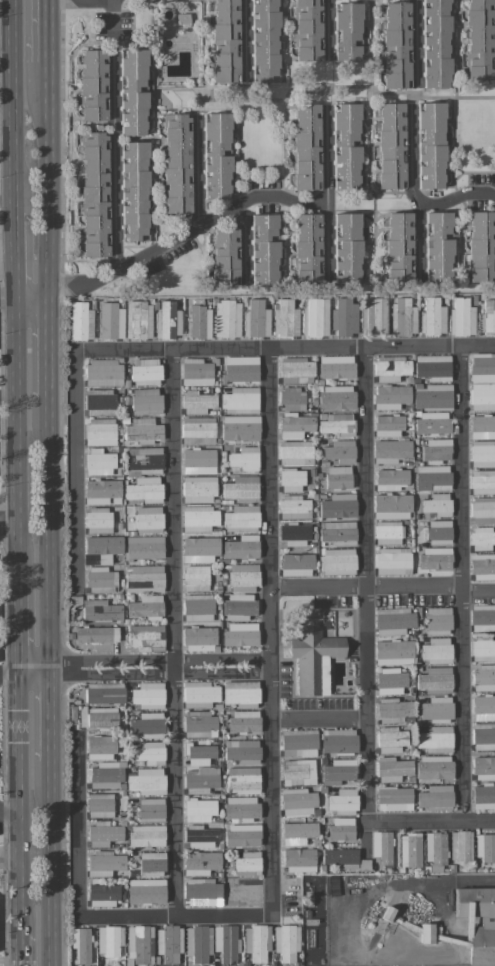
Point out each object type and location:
road: (328, 27)
road: (48, 30)
building: (308, 30)
building: (347, 31)
road: (245, 38)
building: (479, 39)
building: (264, 40)
road: (417, 40)
building: (225, 41)
building: (395, 44)
building: (435, 44)
road: (8, 83)
building: (93, 85)
building: (133, 92)
road: (16, 105)
road: (113, 133)
building: (391, 145)
building: (430, 145)
building: (306, 146)
building: (346, 146)
building: (216, 156)
building: (177, 162)
road: (49, 172)
road: (196, 172)
building: (134, 191)
road: (326, 193)
road: (414, 193)
building: (94, 194)
road: (457, 197)
road: (171, 237)
road: (245, 241)
building: (438, 246)
building: (481, 246)
building: (399, 247)
building: (307, 248)
building: (347, 248)
building: (264, 249)
road: (17, 251)
building: (225, 256)
road: (9, 292)
building: (344, 316)
building: (403, 316)
building: (488, 316)
building: (316, 317)
building: (374, 317)
building: (432, 317)
building: (462, 317)
building: (227, 318)
building: (256, 319)
building: (285, 319)
building: (138, 320)
building: (79, 321)
building: (111, 321)
building: (167, 321)
building: (199, 322)
road: (50, 341)
road: (168, 349)
building: (336, 367)
building: (433, 367)
building: (482, 367)
building: (240, 368)
building: (391, 368)
building: (295, 370)
building: (145, 371)
building: (103, 372)
building: (196, 372)
building: (432, 395)
road: (9, 396)
building: (390, 396)
building: (482, 396)
building: (336, 397)
building: (292, 398)
building: (240, 400)
building: (146, 401)
building: (197, 402)
building: (100, 404)
building: (432, 422)
building: (336, 423)
building: (295, 425)
building: (388, 425)
building: (482, 426)
building: (240, 427)
road: (19, 430)
building: (143, 430)
building: (198, 430)
building: (99, 431)
building: (436, 449)
building: (340, 451)
building: (390, 451)
building: (295, 453)
building: (482, 453)
building: (245, 458)
building: (144, 460)
building: (199, 460)
building: (99, 462)
building: (338, 477)
building: (432, 477)
building: (390, 479)
building: (291, 480)
building: (482, 482)
building: (241, 488)
building: (144, 489)
building: (198, 489)
building: (102, 492)
building: (437, 504)
building: (338, 505)
building: (391, 506)
building: (294, 507)
building: (482, 510)
building: (199, 518)
building: (241, 518)
building: (148, 519)
building: (98, 520)
road: (10, 523)
building: (439, 531)
building: (338, 532)
building: (388, 532)
road: (50, 533)
building: (294, 534)
building: (483, 538)
building: (103, 547)
building: (144, 547)
building: (241, 547)
building: (199, 549)
building: (435, 558)
building: (392, 560)
building: (338, 561)
building: (296, 564)
building: (482, 566)
building: (195, 577)
building: (144, 578)
building: (243, 578)
building: (101, 580)
road: (460, 583)
road: (381, 587)
building: (75, 601)
building: (238, 606)
building: (146, 607)
building: (198, 607)
building: (100, 610)
building: (482, 617)
road: (21, 618)
building: (437, 620)
building: (394, 621)
road: (172, 632)
building: (96, 634)
building: (145, 638)
building: (199, 638)
road: (368, 646)
building: (482, 649)
building: (437, 650)
building: (393, 652)
building: (313, 658)
road: (146, 667)
building: (484, 677)
road: (10, 680)
building: (435, 680)
building: (390, 681)
building: (104, 692)
building: (240, 693)
building: (199, 694)
building: (148, 695)
building: (483, 705)
building: (436, 708)
building: (392, 710)
road: (52, 714)
building: (98, 717)
road: (319, 717)
building: (244, 721)
building: (147, 725)
building: (200, 725)
building: (483, 736)
building: (390, 739)
building: (436, 739)
building: (338, 740)
building: (298, 743)
building: (100, 747)
building: (242, 751)
building: (149, 753)
building: (200, 754)
building: (434, 767)
building: (484, 767)
building: (392, 769)
building: (338, 771)
building: (297, 772)
building: (106, 775)
building: (201, 780)
building: (243, 780)
building: (147, 781)
building: (483, 796)
building: (435, 797)
building: (394, 798)
road: (22, 800)
building: (343, 801)
building: (297, 802)
building: (100, 804)
building: (240, 808)
building: (151, 809)
building: (199, 810)
road: (11, 813)
road: (270, 817)
building: (341, 828)
building: (298, 832)
building: (103, 833)
building: (242, 834)
building: (146, 835)
building: (200, 836)
building: (460, 845)
building: (381, 846)
building: (485, 847)
building: (410, 849)
building: (435, 849)
road: (11, 854)
building: (339, 855)
building: (299, 860)
building: (201, 862)
road: (53, 863)
building: (104, 863)
building: (152, 863)
building: (247, 864)
road: (481, 878)
road: (407, 883)
building: (146, 890)
building: (244, 891)
building: (203, 892)
building: (102, 895)
building: (426, 933)
building: (109, 940)
building: (257, 942)
building: (286, 942)
building: (169, 943)
building: (198, 943)
building: (226, 943)
building: (81, 944)
building: (139, 944)
building: (481, 946)
road: (24, 949)

